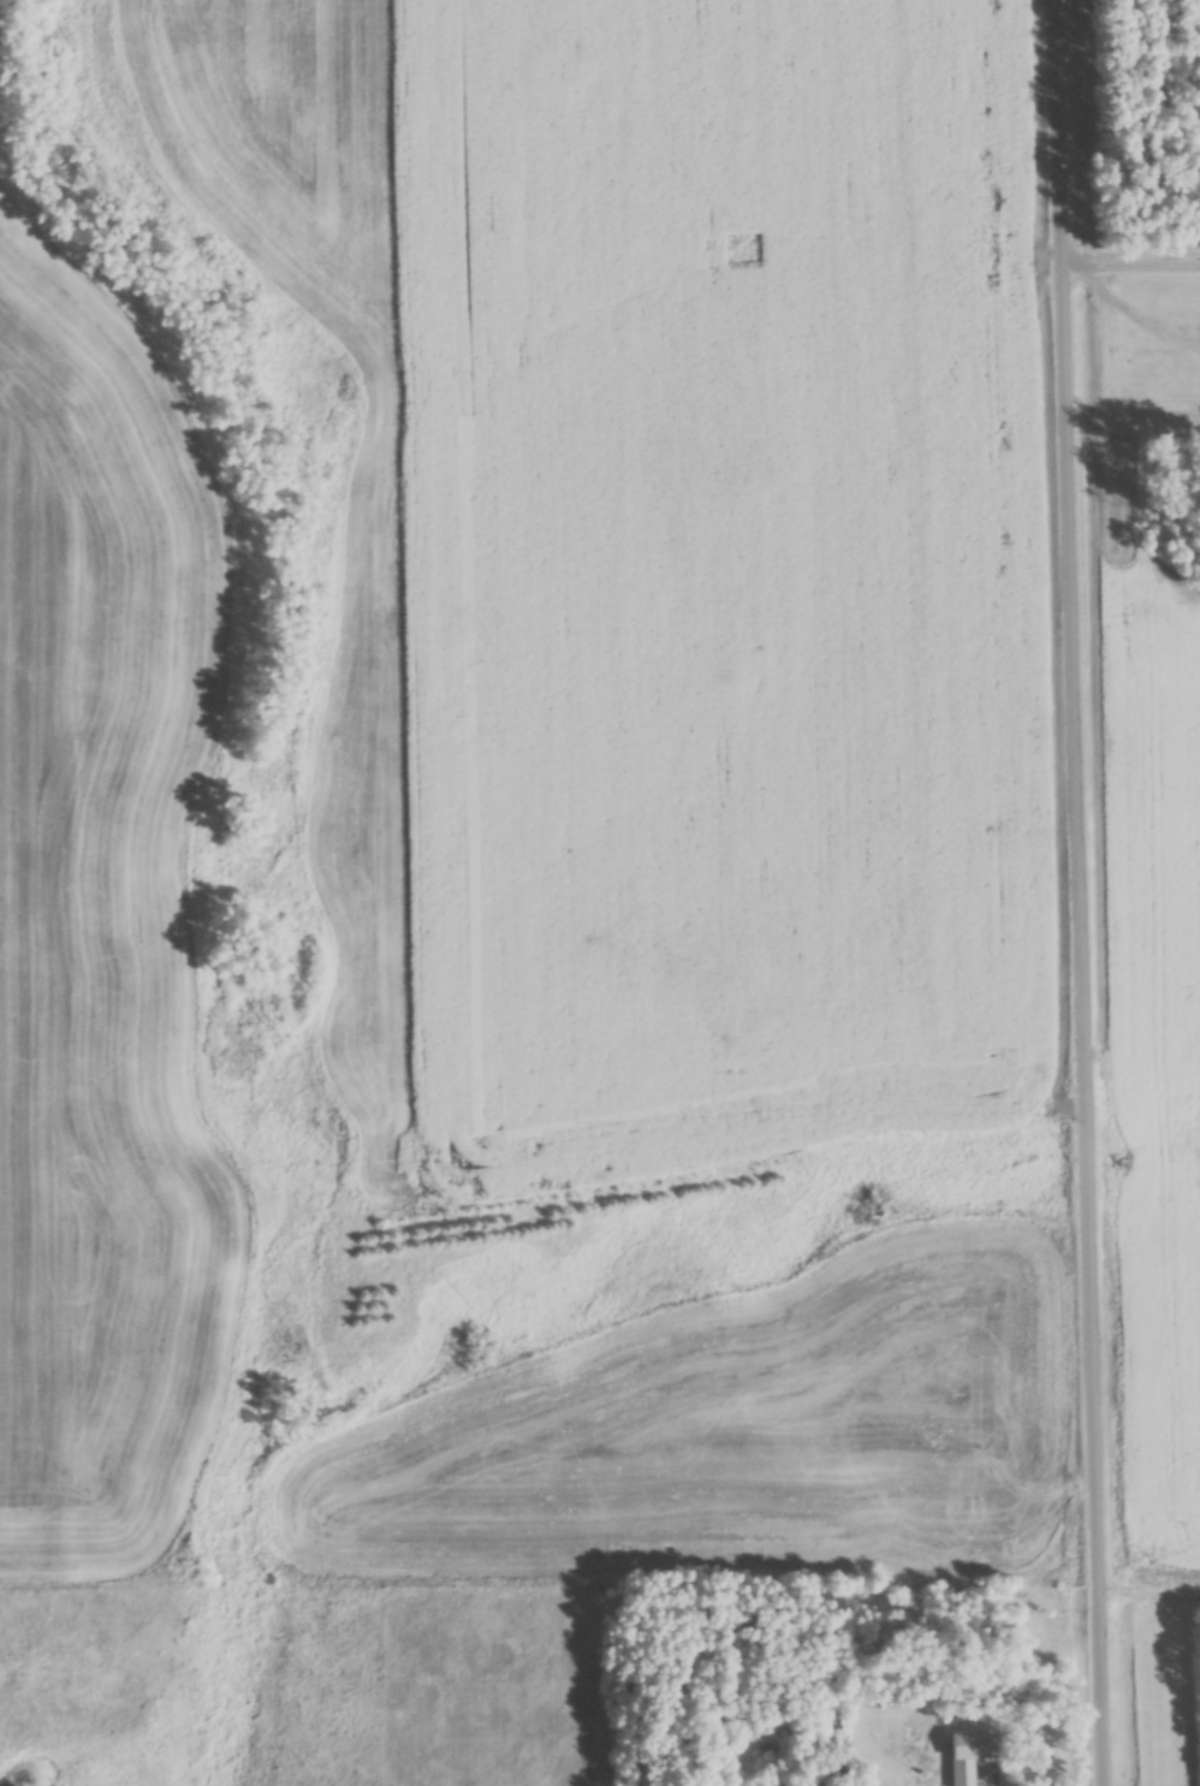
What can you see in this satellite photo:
road: (1131, 260)
road: (1081, 892)
building: (970, 1755)

